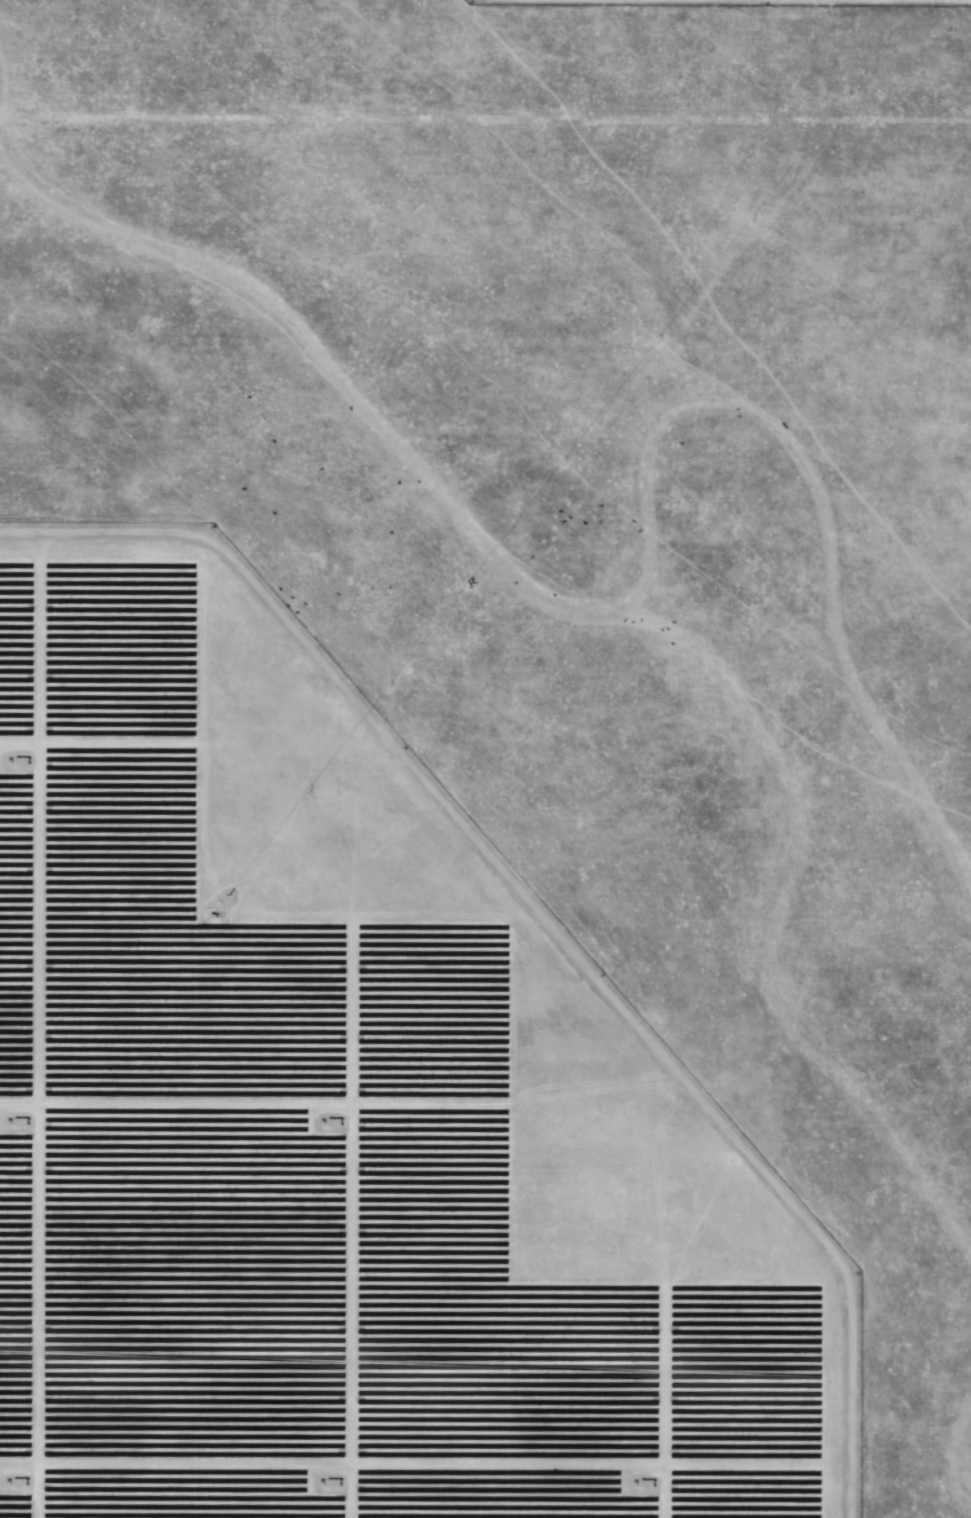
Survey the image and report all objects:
road: (485, 53)
solar farm: (485, 759)

